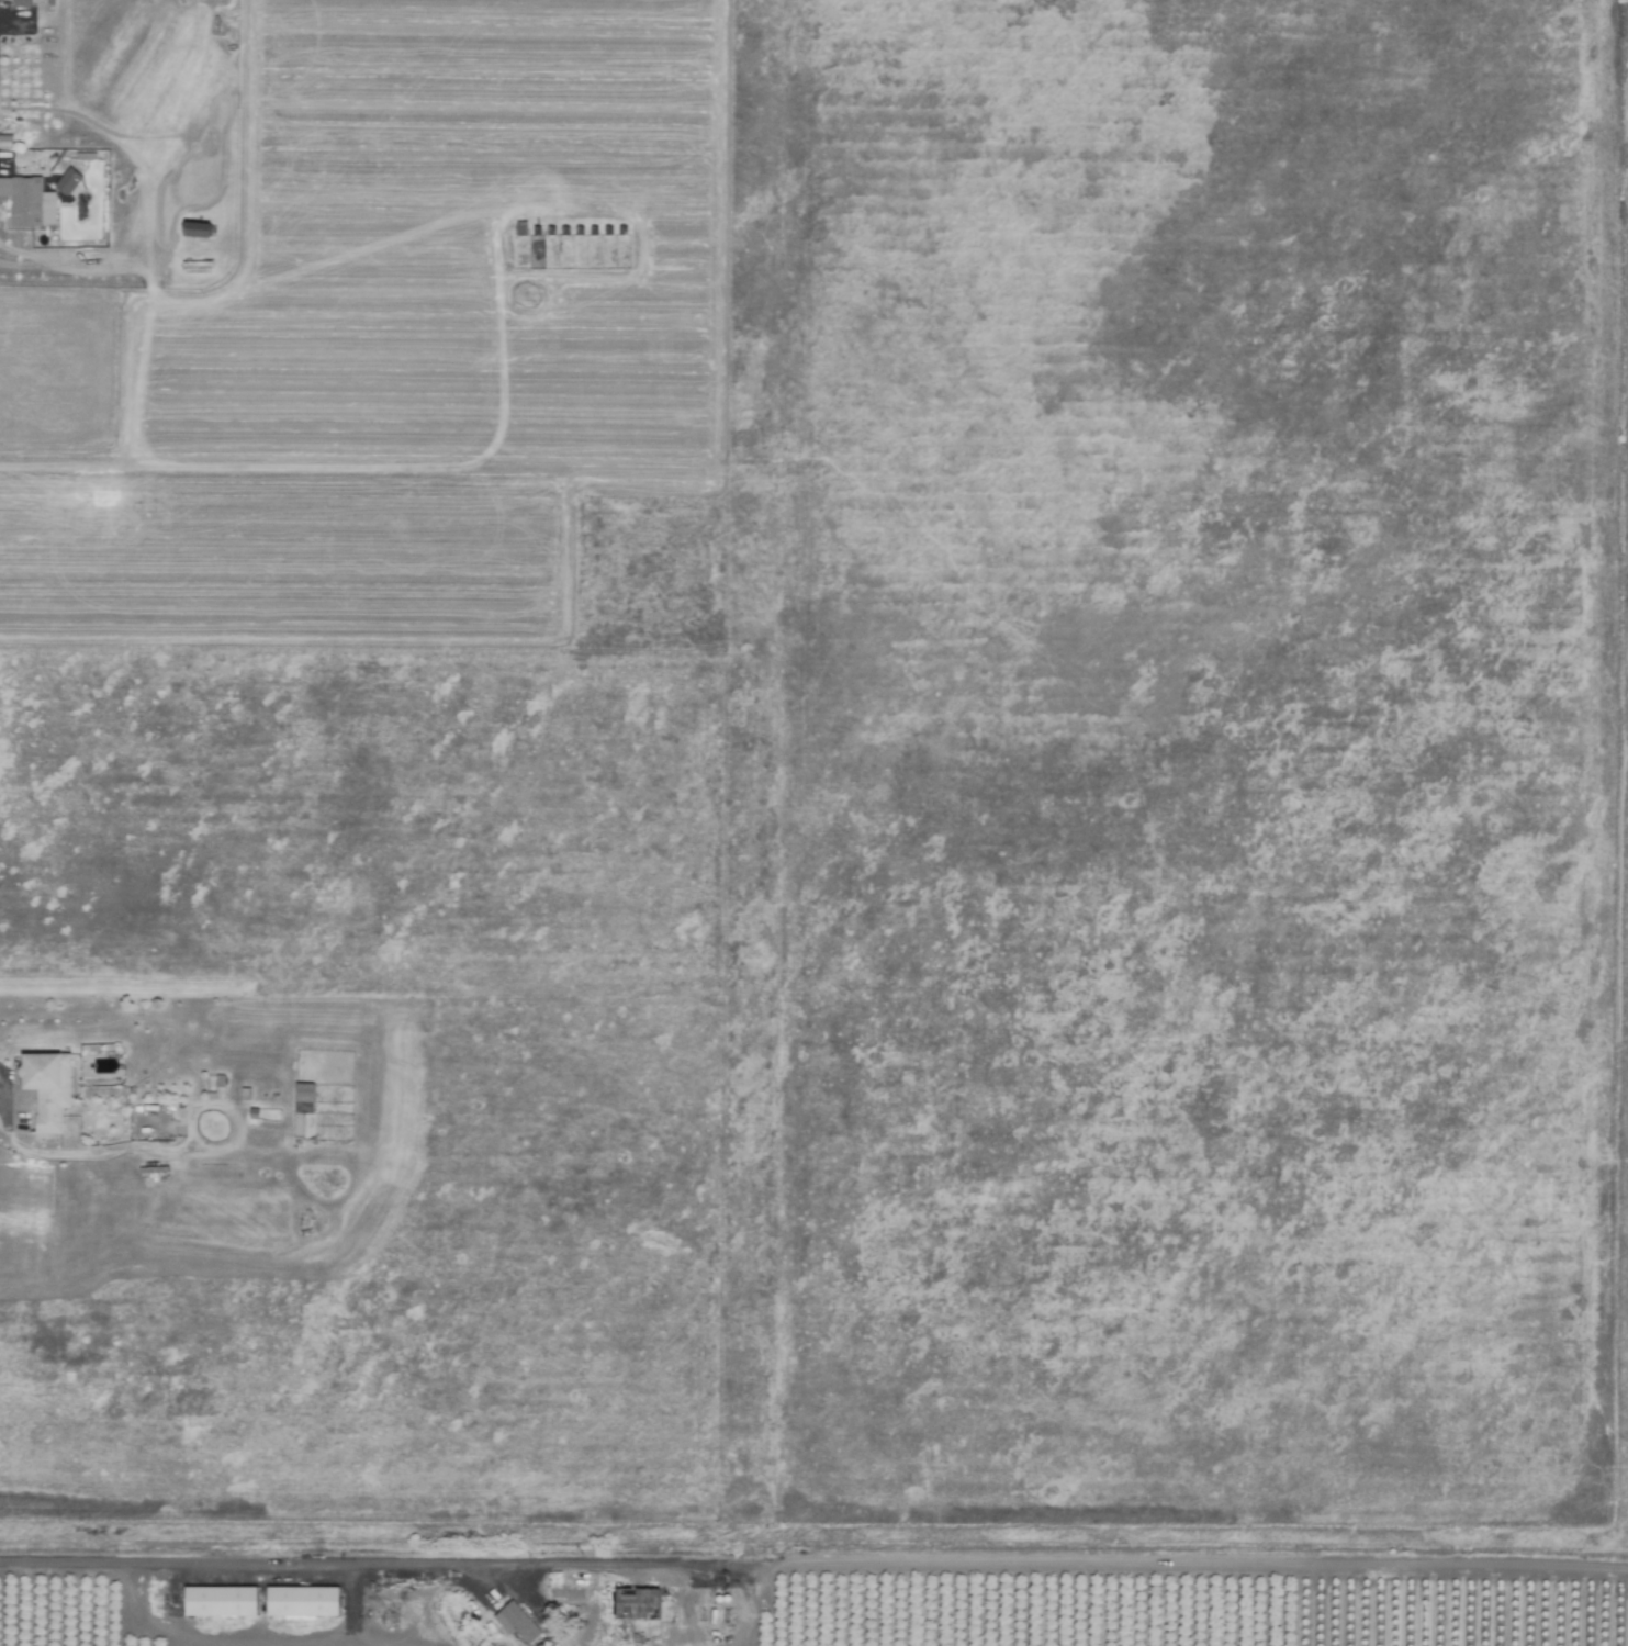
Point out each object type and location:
building: (20, 2)
building: (67, 181)
building: (21, 198)
building: (197, 229)
building: (45, 1088)
building: (301, 1106)
road: (88, 1152)
road: (362, 1565)
building: (220, 1601)
building: (302, 1601)
building: (642, 1602)
building: (516, 1622)

